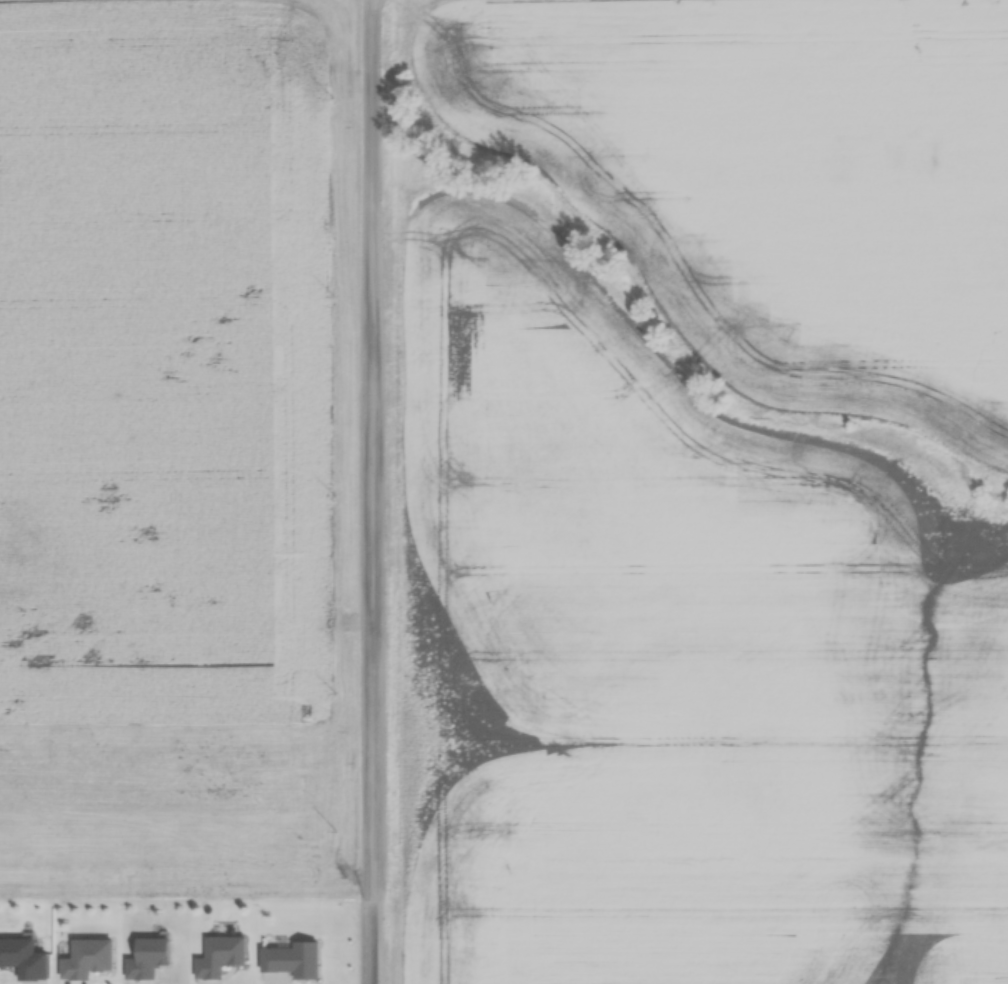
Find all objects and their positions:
road: (372, 451)
road: (370, 943)

